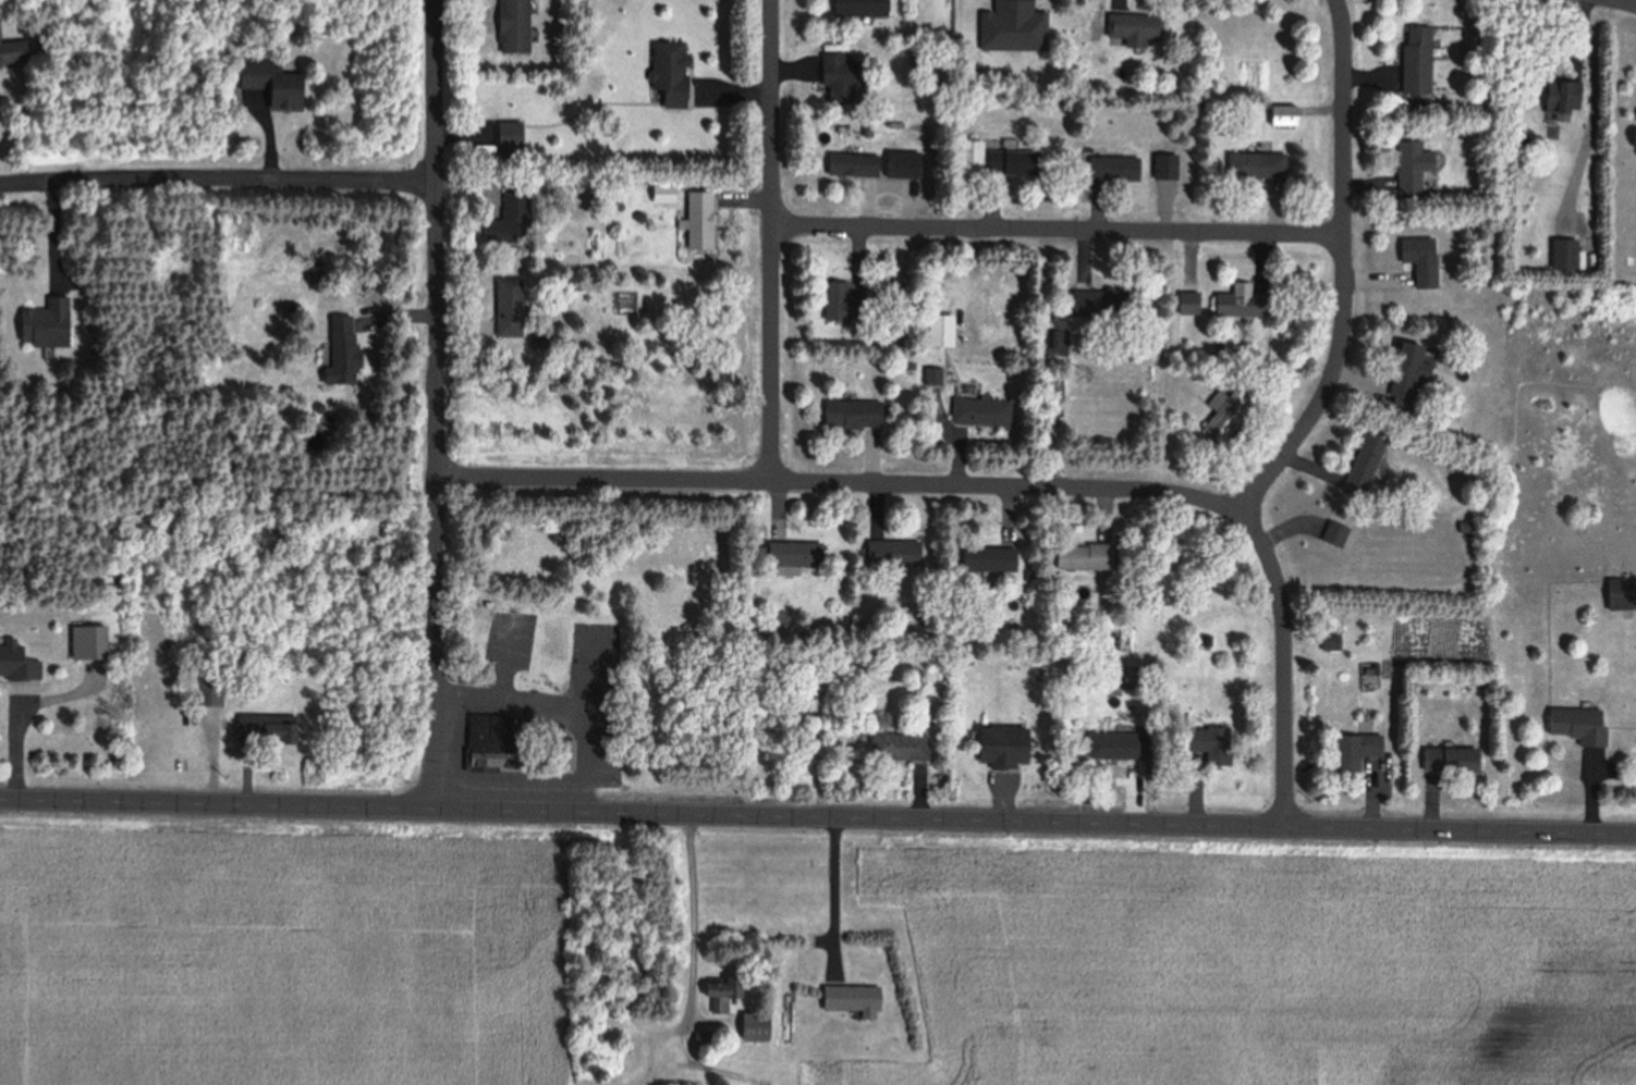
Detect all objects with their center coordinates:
road: (1622, 3)
building: (855, 8)
building: (510, 27)
building: (1132, 28)
building: (1416, 59)
building: (667, 72)
building: (834, 74)
building: (1561, 98)
building: (1282, 114)
building: (506, 138)
building: (991, 159)
building: (850, 164)
building: (900, 164)
building: (1411, 164)
building: (1256, 165)
building: (1113, 168)
road: (219, 185)
building: (508, 219)
building: (697, 220)
road: (1058, 232)
road: (771, 242)
building: (1562, 254)
building: (1419, 259)
road: (1344, 273)
building: (839, 303)
building: (1187, 304)
building: (1238, 305)
building: (506, 307)
building: (44, 323)
building: (939, 330)
building: (338, 349)
building: (1403, 370)
building: (933, 375)
road: (439, 403)
building: (979, 411)
building: (847, 412)
building: (1217, 432)
building: (1363, 461)
road: (841, 484)
building: (1333, 534)
building: (889, 553)
building: (791, 554)
building: (1081, 557)
building: (987, 559)
building: (1620, 593)
building: (87, 642)
building: (1330, 642)
building: (16, 661)
road: (1283, 666)
building: (204, 688)
building: (1576, 725)
building: (264, 729)
building: (488, 733)
road: (14, 739)
building: (1208, 742)
building: (1115, 745)
building: (899, 747)
building: (997, 747)
building: (1353, 750)
building: (562, 755)
building: (1446, 760)
building: (488, 763)
road: (818, 815)
road: (686, 916)
crop: (286, 949)
crop: (1212, 953)
building: (721, 995)
building: (850, 998)
building: (752, 1026)
building: (672, 1083)

